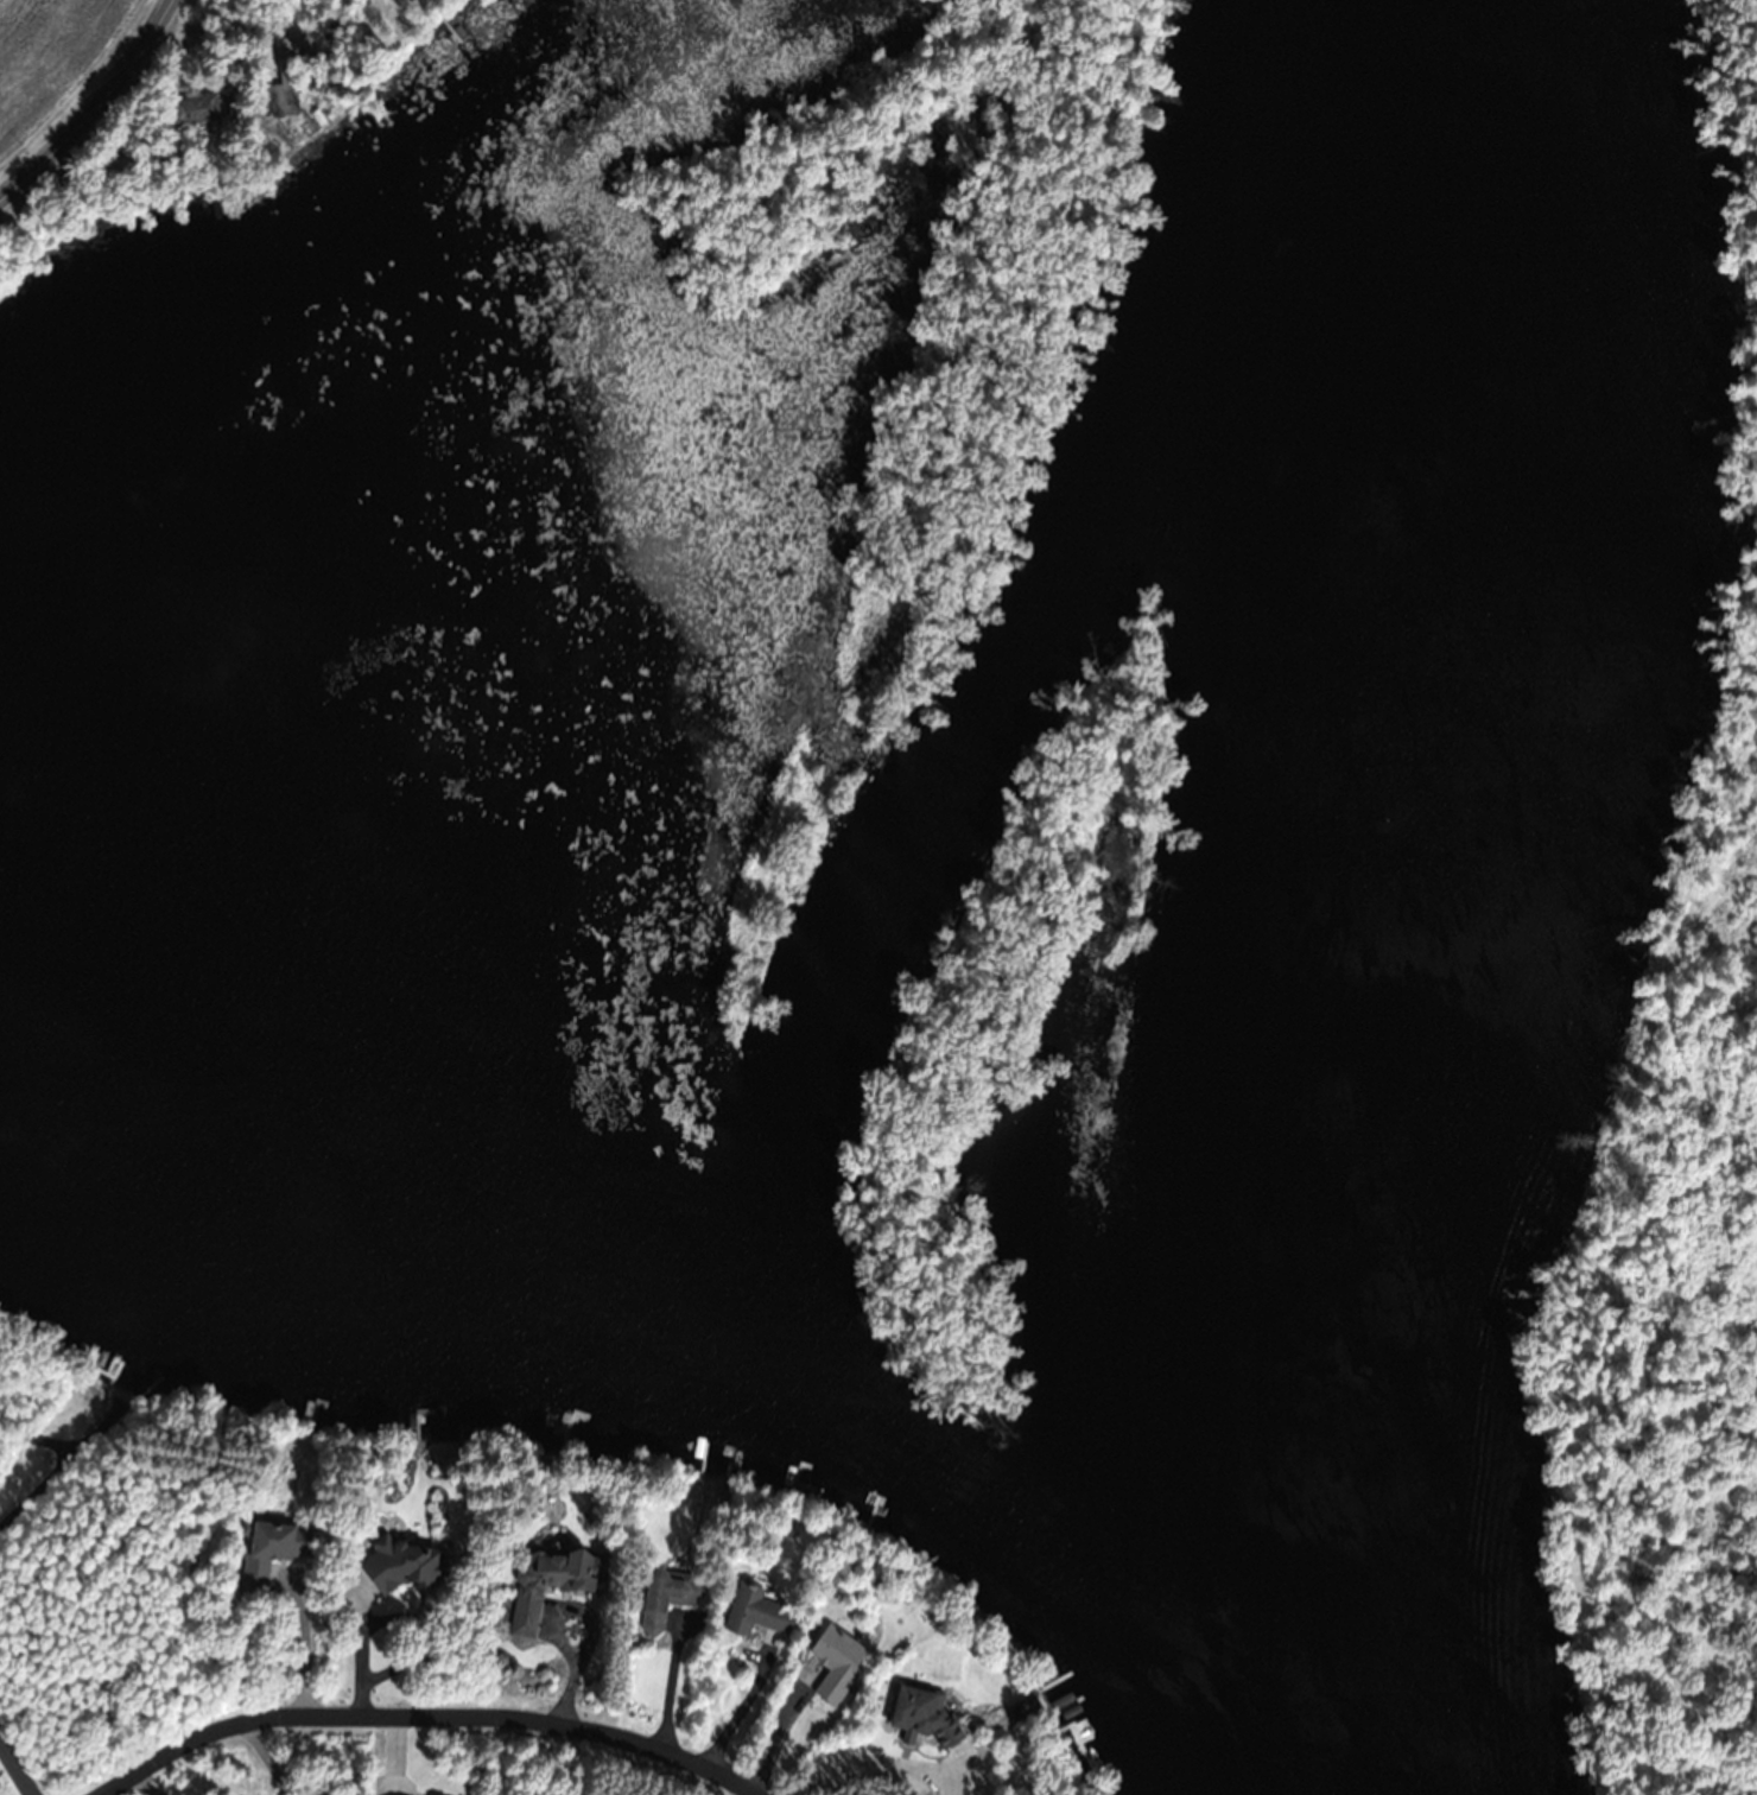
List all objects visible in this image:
building: (285, 85)
road: (97, 107)
building: (197, 107)
river: (1398, 902)
building: (273, 1549)
building: (404, 1564)
building: (553, 1581)
building: (672, 1590)
building: (759, 1610)
building: (925, 1713)
road: (423, 1717)
road: (17, 1767)

